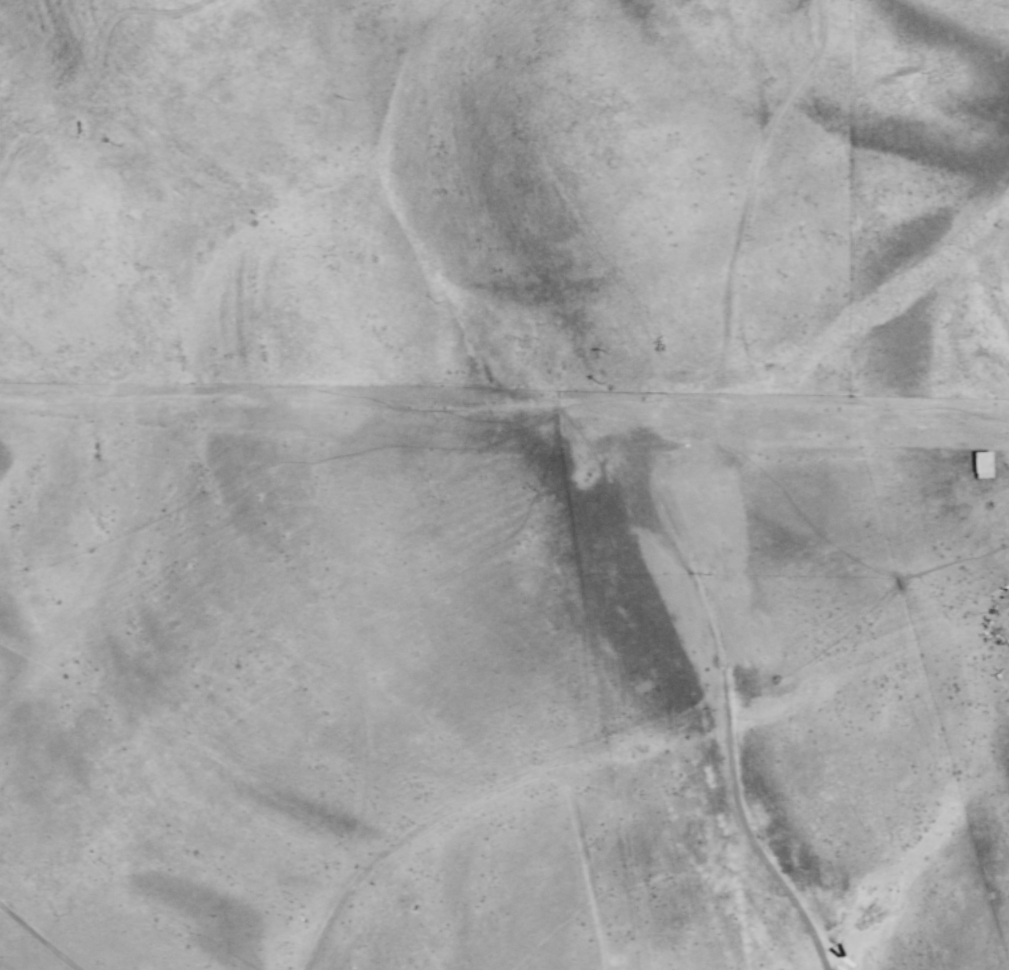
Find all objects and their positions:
road: (741, 180)
road: (37, 938)

